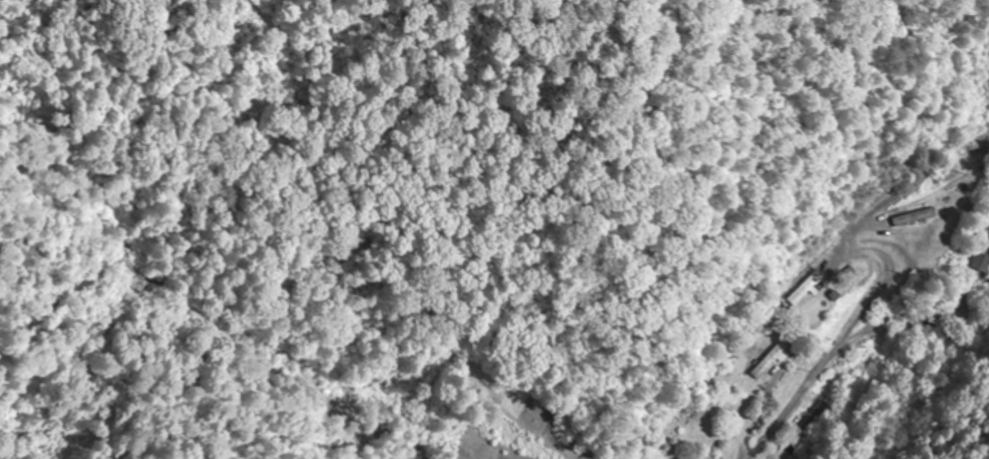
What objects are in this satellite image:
building: (914, 218)
building: (982, 254)
building: (808, 290)
building: (770, 362)
road: (807, 389)
building: (702, 400)
building: (813, 418)

